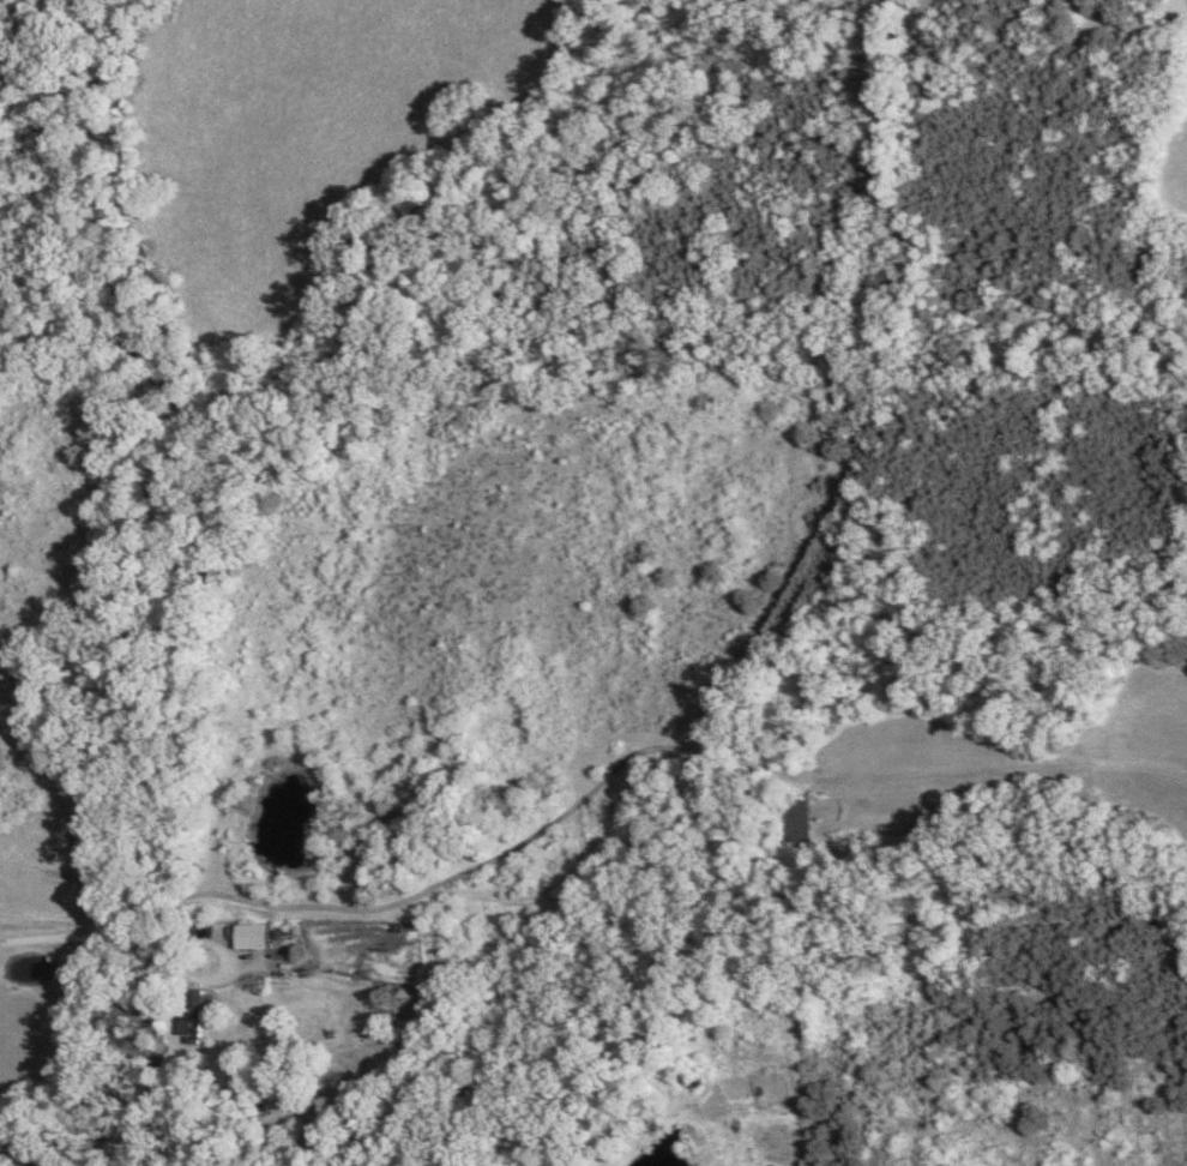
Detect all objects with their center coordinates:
building: (800, 823)
building: (247, 938)
road: (134, 939)
building: (192, 1016)

